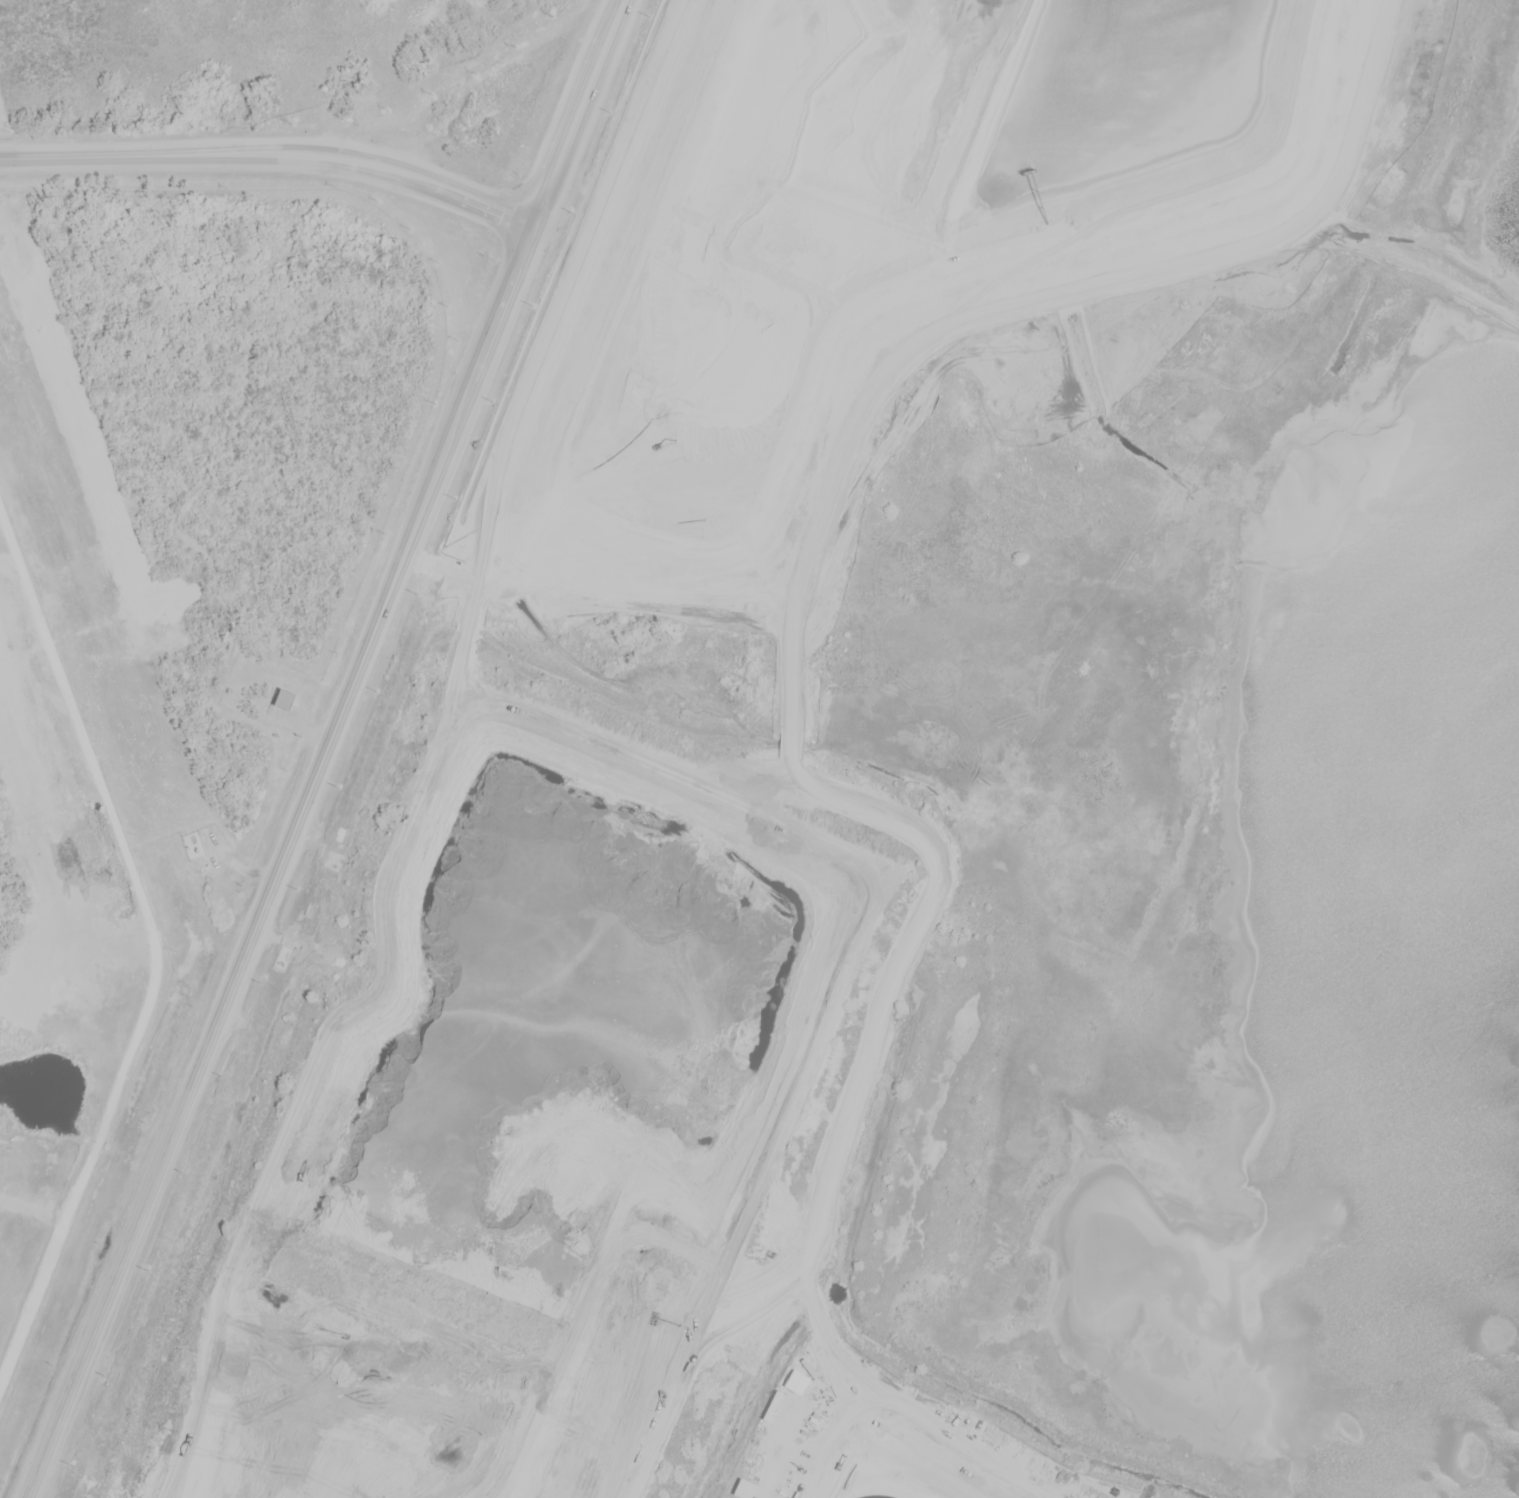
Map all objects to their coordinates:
road: (579, 112)
road: (275, 152)
road: (1237, 159)
building: (286, 700)
road: (283, 861)
building: (747, 1488)

